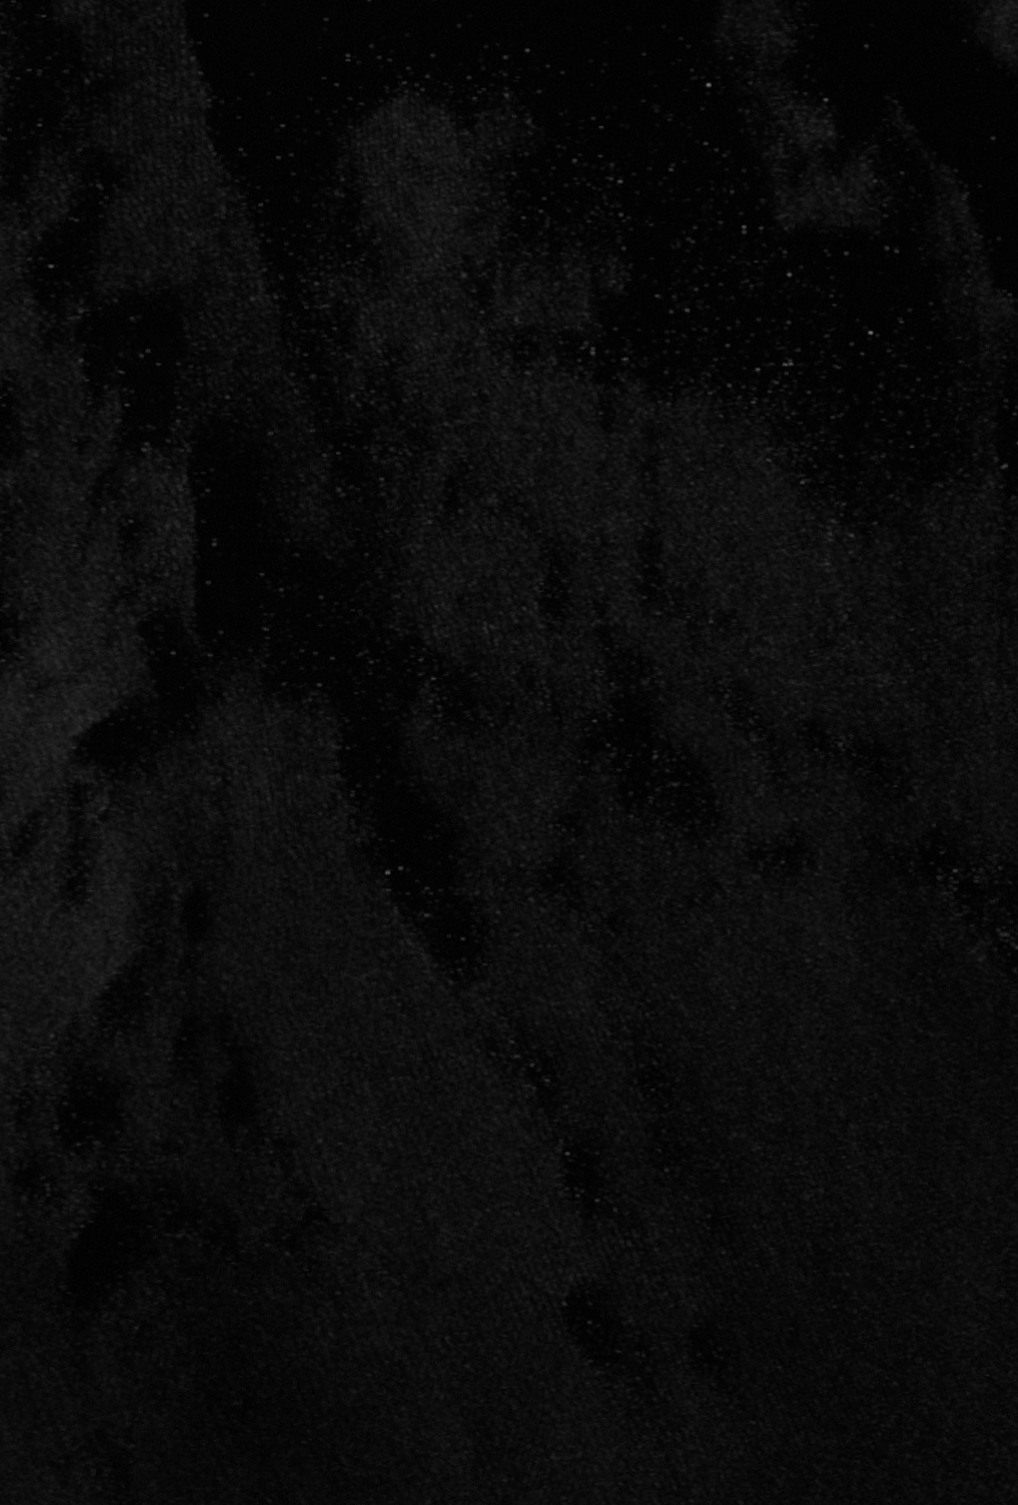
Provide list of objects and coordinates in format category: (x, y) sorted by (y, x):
river: (999, 56)

